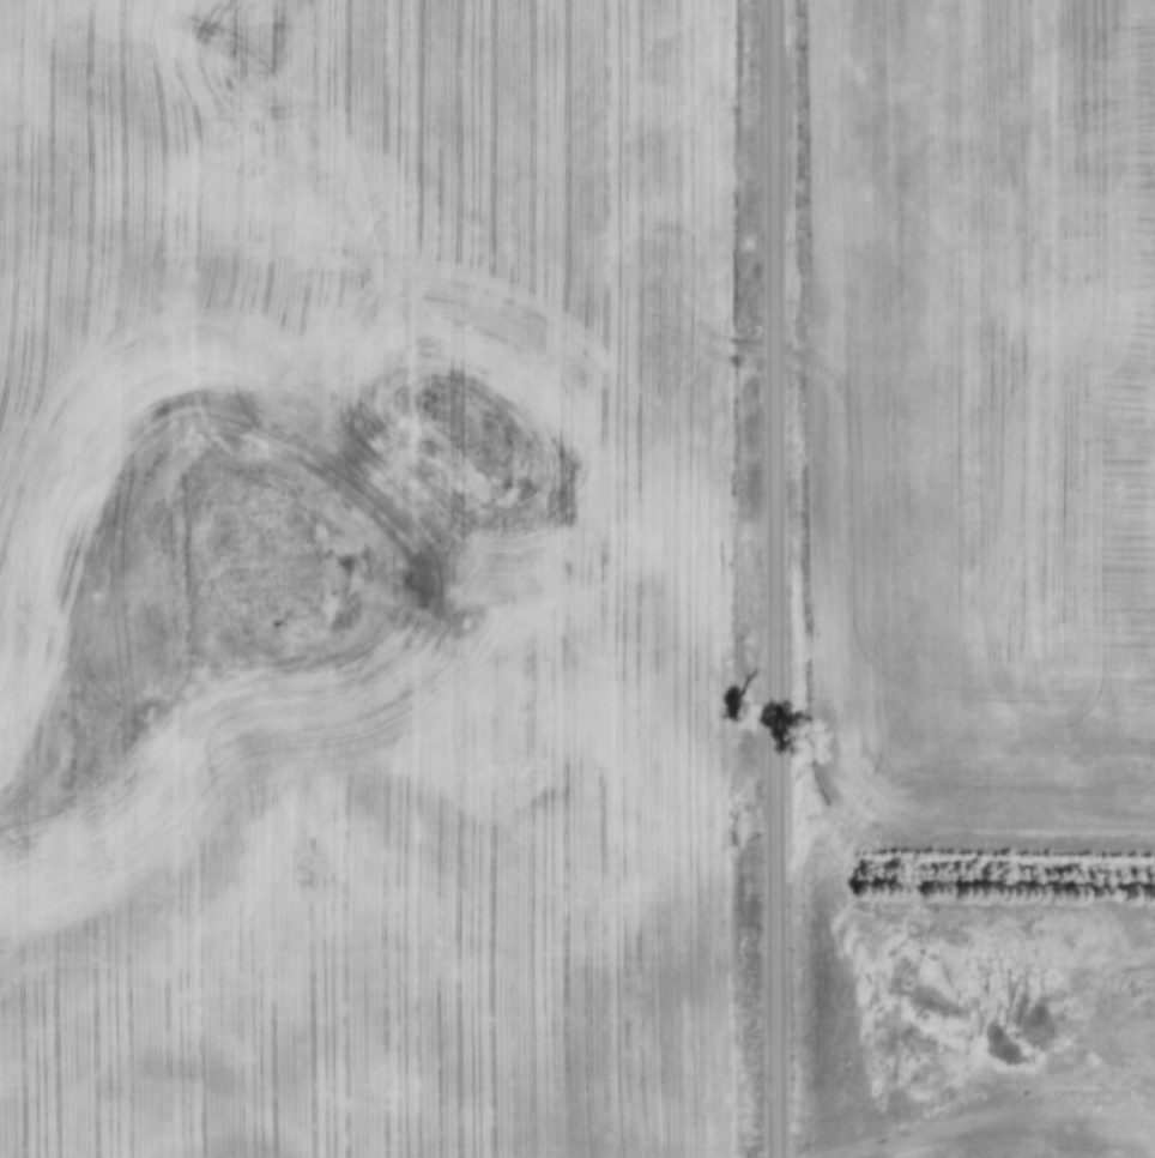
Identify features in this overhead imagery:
road: (776, 579)

